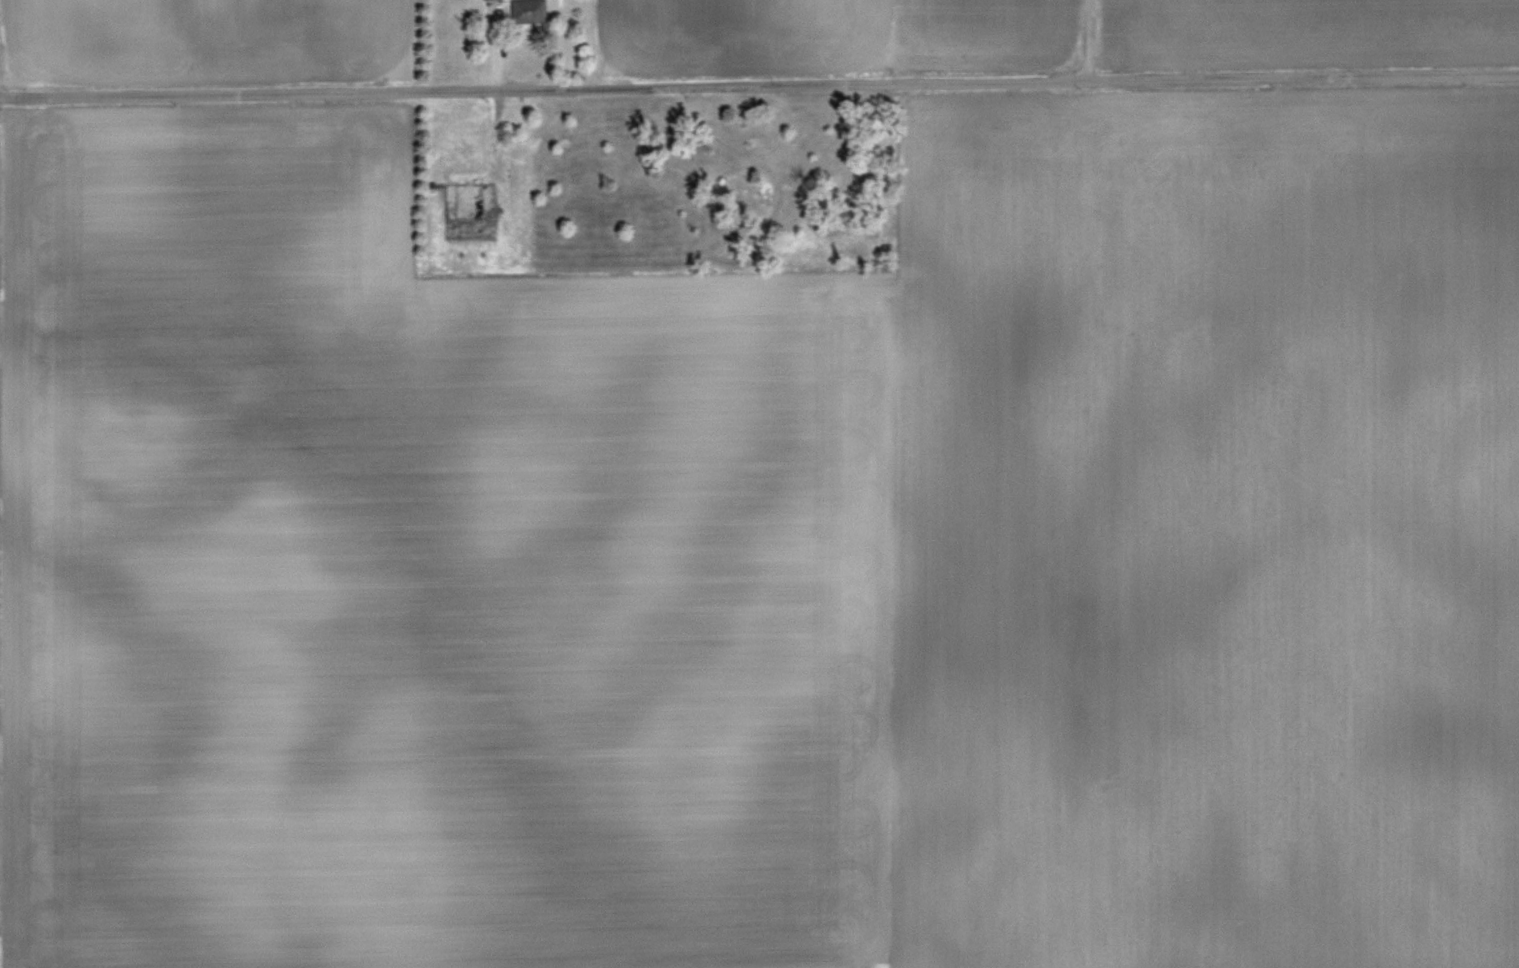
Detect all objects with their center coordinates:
building: (493, 0)
building: (530, 12)
road: (1094, 35)
road: (759, 80)
building: (471, 201)

